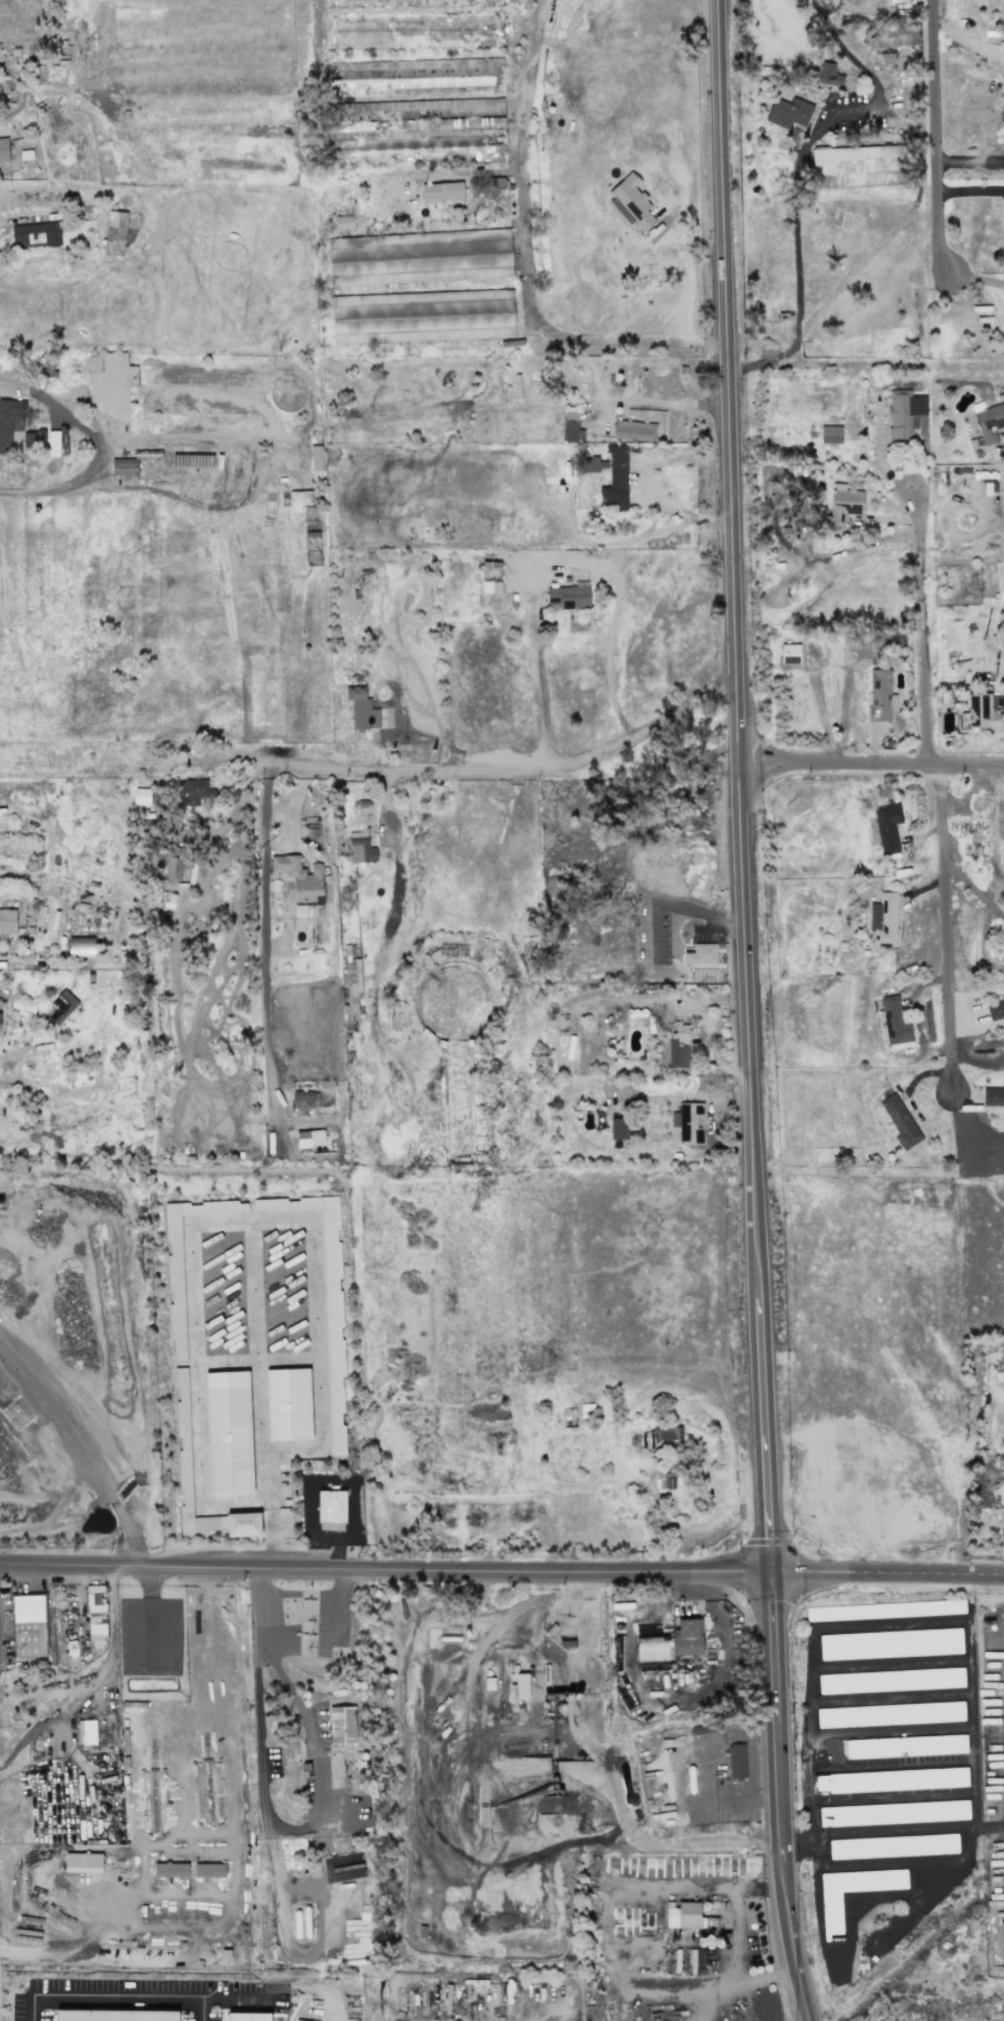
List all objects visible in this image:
building: (895, 37)
building: (829, 75)
building: (413, 77)
building: (456, 110)
building: (788, 113)
road: (940, 135)
building: (3, 150)
road: (803, 152)
building: (25, 155)
road: (972, 157)
building: (859, 165)
road: (973, 186)
building: (442, 191)
building: (630, 202)
building: (343, 222)
road: (897, 224)
building: (115, 226)
building: (35, 235)
building: (466, 235)
road: (522, 262)
building: (413, 263)
road: (975, 275)
road: (691, 283)
building: (422, 316)
road: (772, 358)
building: (110, 381)
road: (655, 400)
road: (54, 404)
building: (904, 414)
building: (8, 421)
building: (989, 422)
building: (571, 427)
building: (633, 430)
building: (830, 434)
building: (53, 443)
building: (316, 458)
road: (250, 461)
building: (592, 464)
building: (123, 467)
building: (615, 480)
road: (651, 482)
road: (35, 491)
building: (843, 504)
road: (950, 513)
road: (996, 526)
road: (561, 558)
building: (567, 598)
road: (922, 626)
road: (736, 649)
building: (789, 654)
building: (879, 695)
building: (361, 709)
building: (982, 712)
road: (872, 764)
road: (516, 775)
building: (193, 791)
building: (141, 796)
building: (887, 828)
building: (360, 848)
road: (396, 853)
building: (173, 867)
building: (300, 881)
road: (968, 881)
road: (943, 904)
road: (704, 912)
road: (995, 912)
building: (883, 920)
building: (7, 922)
road: (261, 939)
road: (983, 941)
building: (80, 947)
building: (700, 954)
building: (351, 989)
building: (61, 1006)
building: (995, 1009)
building: (893, 1024)
building: (675, 1048)
road: (975, 1059)
building: (304, 1098)
building: (899, 1121)
building: (688, 1123)
building: (619, 1128)
building: (309, 1138)
building: (174, 1252)
building: (325, 1307)
building: (288, 1404)
road: (994, 1422)
building: (228, 1433)
road: (765, 1435)
building: (662, 1438)
road: (77, 1446)
building: (185, 1474)
building: (665, 1481)
building: (331, 1507)
road: (501, 1564)
traffic signals: (771, 1572)
building: (885, 1610)
building: (95, 1613)
building: (28, 1626)
building: (687, 1638)
building: (890, 1643)
road: (580, 1660)
road: (94, 1672)
building: (890, 1680)
building: (520, 1685)
building: (889, 1714)
road: (777, 1716)
building: (342, 1725)
building: (905, 1745)
building: (736, 1760)
building: (890, 1780)
building: (893, 1813)
road: (273, 1818)
road: (440, 1833)
building: (892, 1846)
road: (233, 1854)
building: (82, 1862)
building: (170, 1869)
building: (209, 1870)
building: (683, 1915)
building: (831, 1915)
road: (735, 1939)
road: (791, 1941)
road: (113, 1989)
building: (114, 2015)
building: (246, 2017)
building: (294, 2020)

